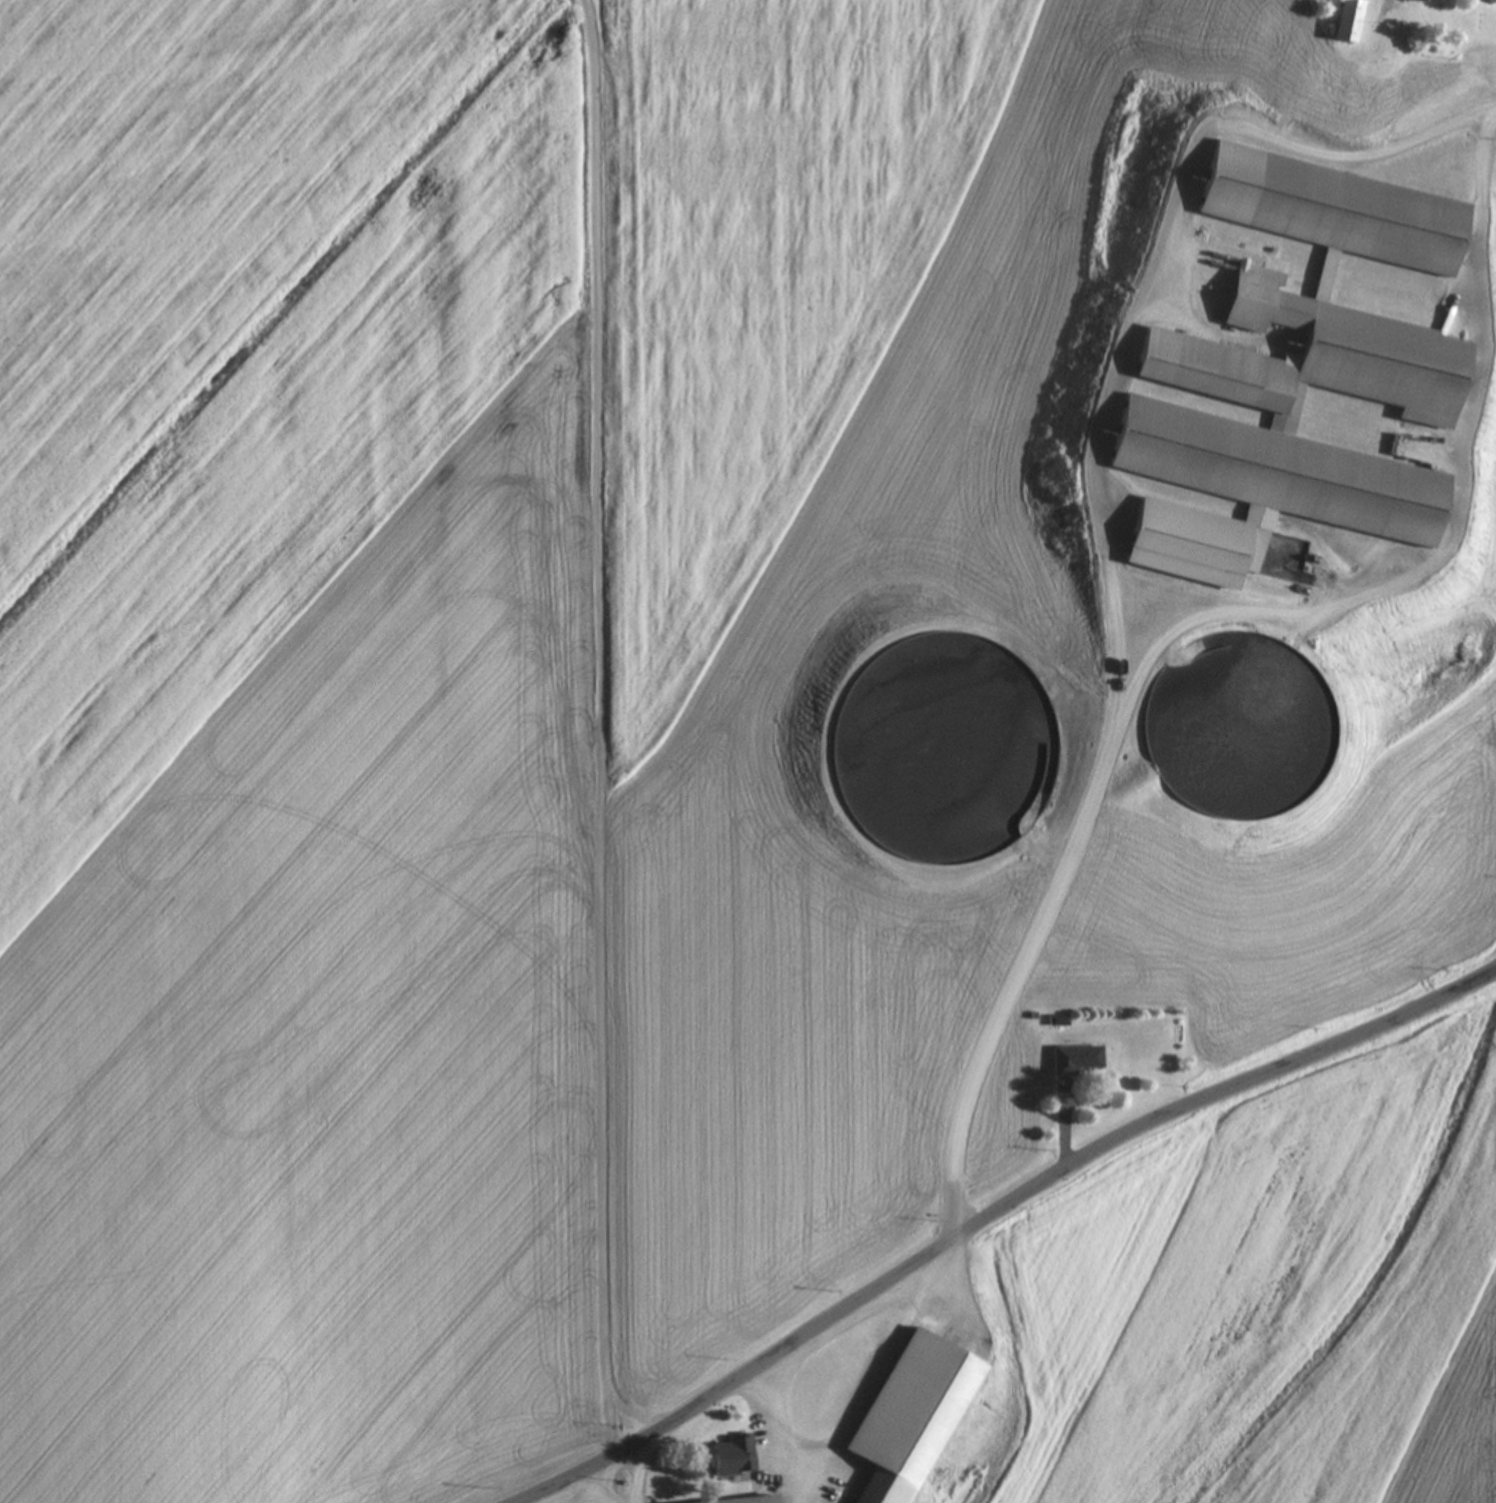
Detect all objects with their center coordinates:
building: (1418, 0)
building: (1349, 21)
building: (1334, 89)
building: (1306, 356)
road: (1449, 500)
road: (1099, 539)
building: (1260, 551)
building: (1272, 795)
road: (1494, 992)
building: (1057, 1021)
building: (1076, 1060)
road: (1005, 1217)
building: (904, 1416)
road: (774, 1438)
building: (735, 1457)
road: (635, 1477)
road: (605, 1483)
building: (805, 1488)
road: (609, 1495)
building: (745, 1501)

